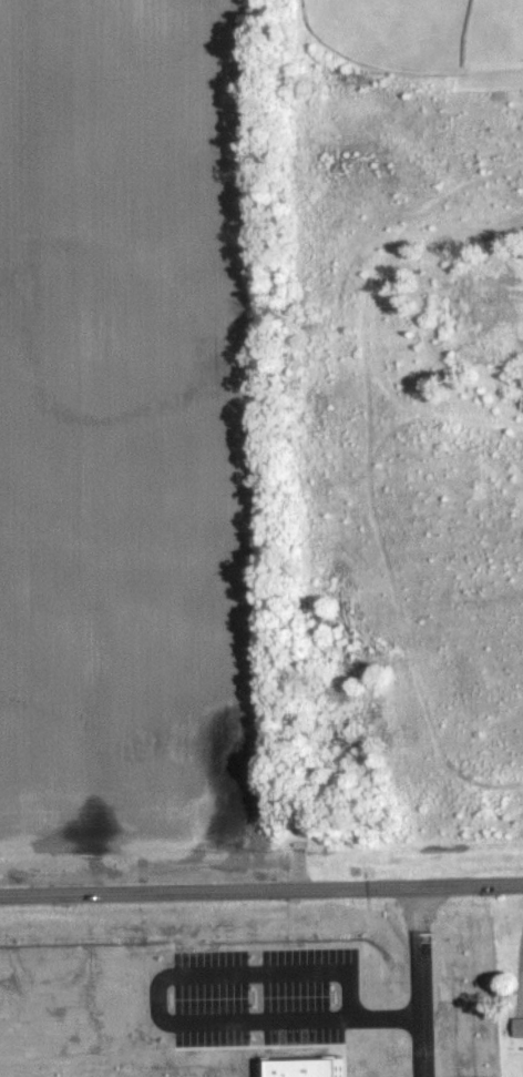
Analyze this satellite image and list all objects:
park: (392, 32)
park: (493, 37)
road: (261, 886)
road: (421, 979)
road: (156, 1010)
building: (520, 1028)
building: (310, 1068)

